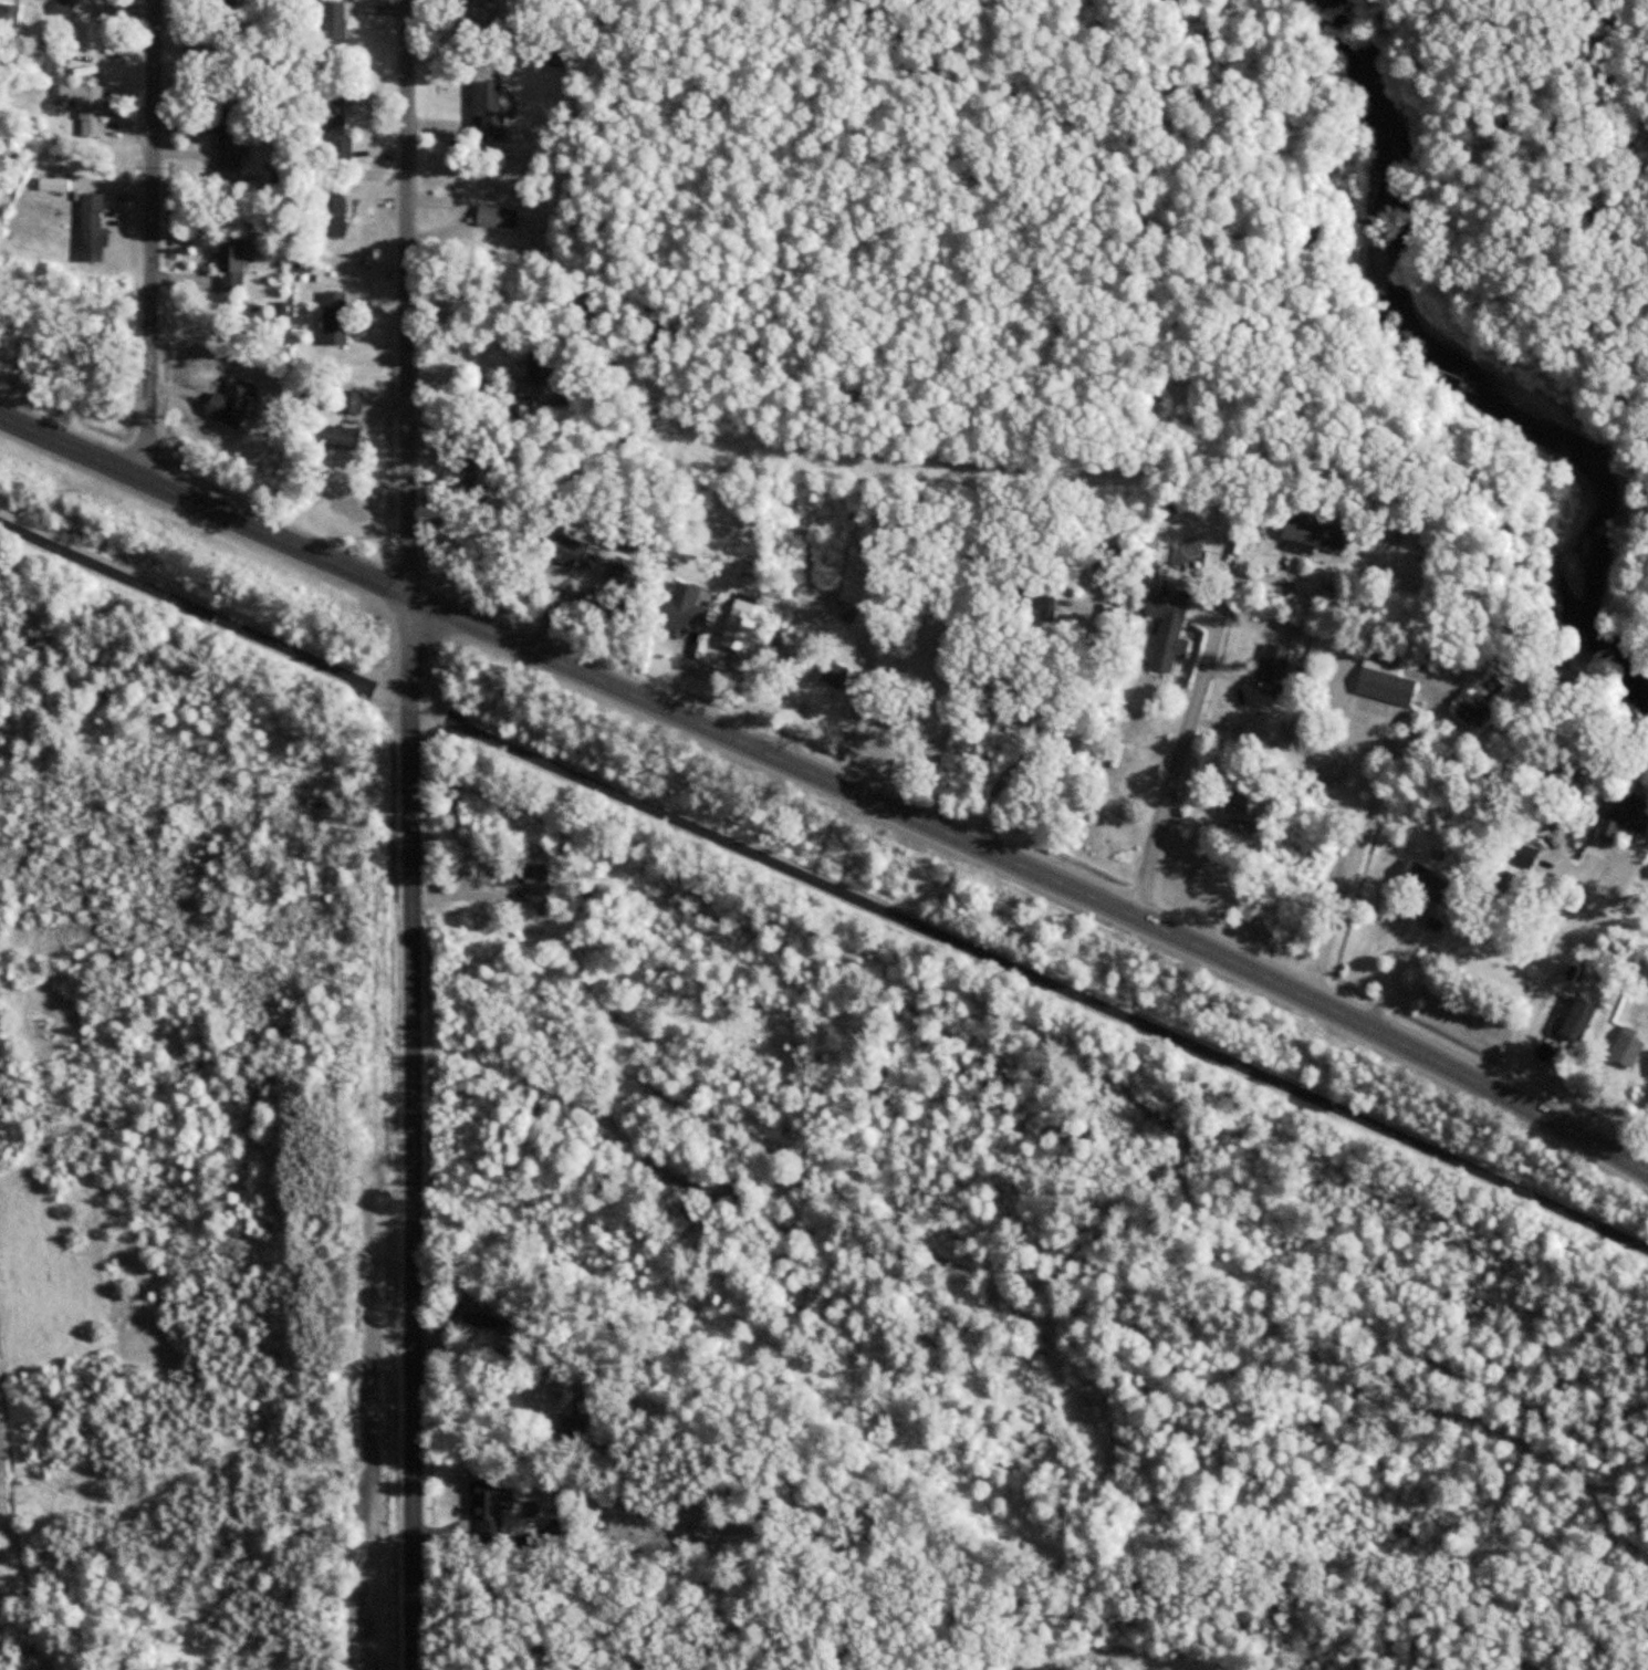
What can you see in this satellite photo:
building: (80, 1)
building: (55, 6)
building: (226, 10)
building: (334, 19)
building: (474, 22)
building: (44, 56)
building: (491, 108)
building: (88, 109)
building: (335, 124)
building: (232, 149)
building: (493, 180)
building: (335, 207)
building: (493, 217)
building: (100, 227)
road: (152, 243)
building: (234, 261)
building: (335, 312)
river: (1487, 343)
building: (542, 365)
road: (478, 389)
building: (234, 396)
building: (353, 397)
building: (343, 436)
building: (496, 478)
building: (476, 492)
building: (1318, 536)
building: (571, 546)
building: (1104, 571)
building: (624, 576)
building: (748, 602)
building: (1039, 604)
building: (680, 612)
building: (1168, 627)
building: (1275, 660)
building: (833, 671)
building: (1387, 686)
building: (1480, 710)
road: (1050, 735)
building: (1251, 735)
road: (1185, 749)
road: (831, 780)
building: (1242, 791)
building: (1619, 822)
building: (1242, 832)
road: (410, 834)
building: (1527, 856)
road: (1354, 860)
building: (525, 877)
building: (1425, 880)
road: (824, 883)
building: (1514, 887)
road: (1610, 920)
road: (1396, 970)
road: (1550, 973)
building: (1578, 1026)
building: (1629, 1045)
building: (491, 1321)
building: (577, 1419)
building: (488, 1507)
park: (1032, 1618)
road: (1136, 1650)

